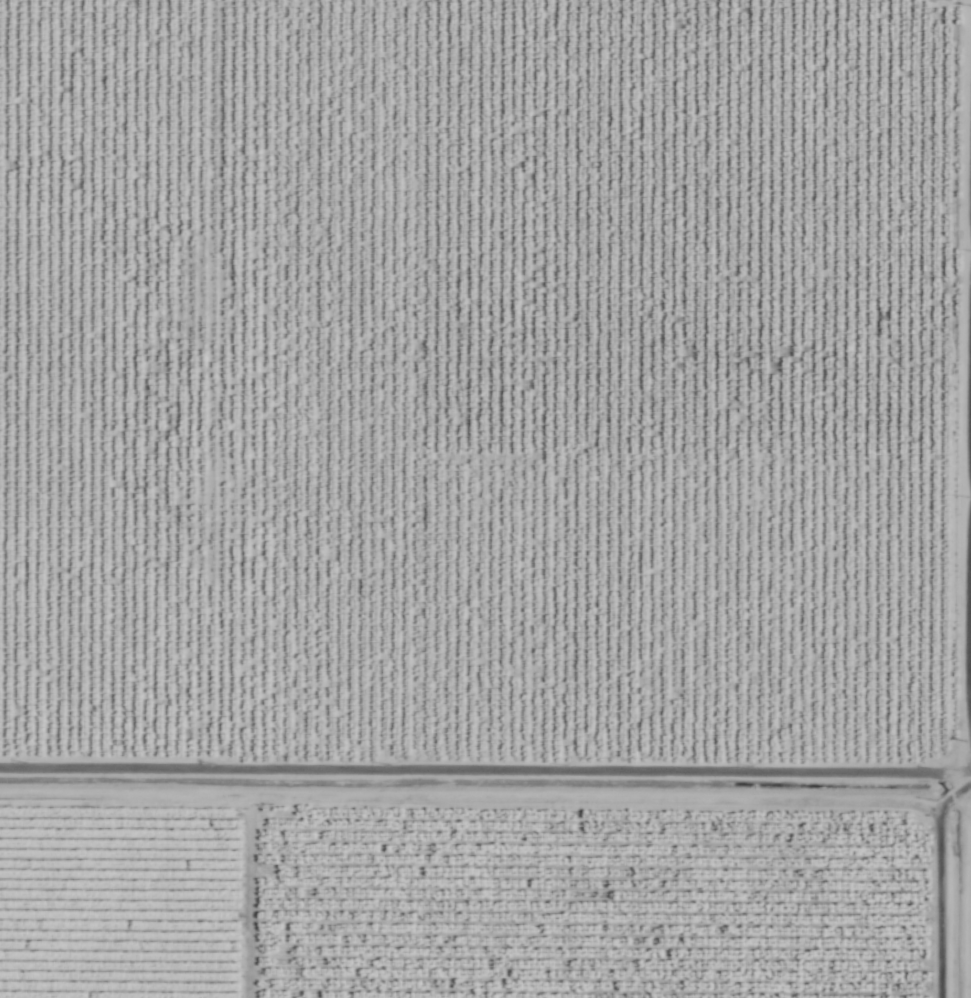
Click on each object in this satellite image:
crop: (485, 499)
road: (487, 822)

